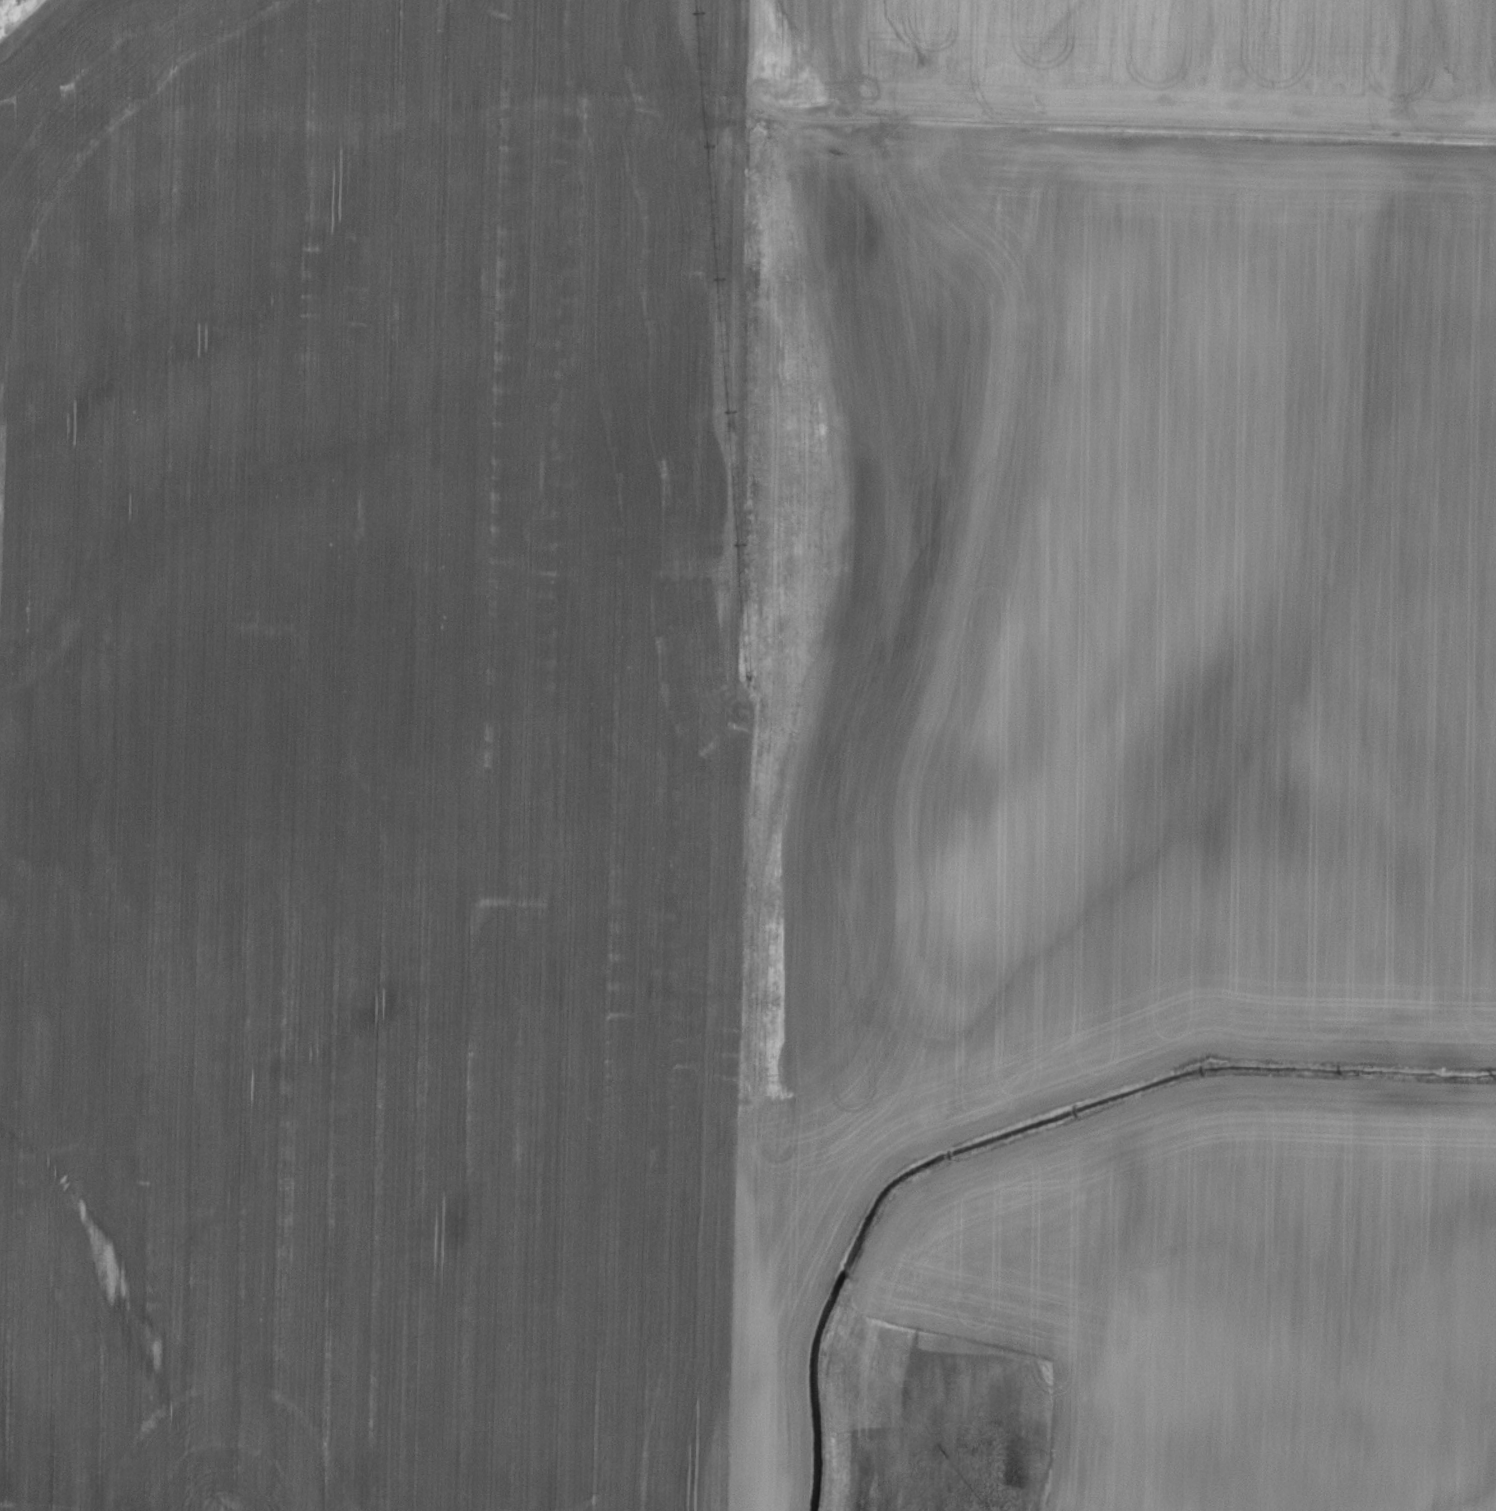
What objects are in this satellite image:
road: (1066, 122)

